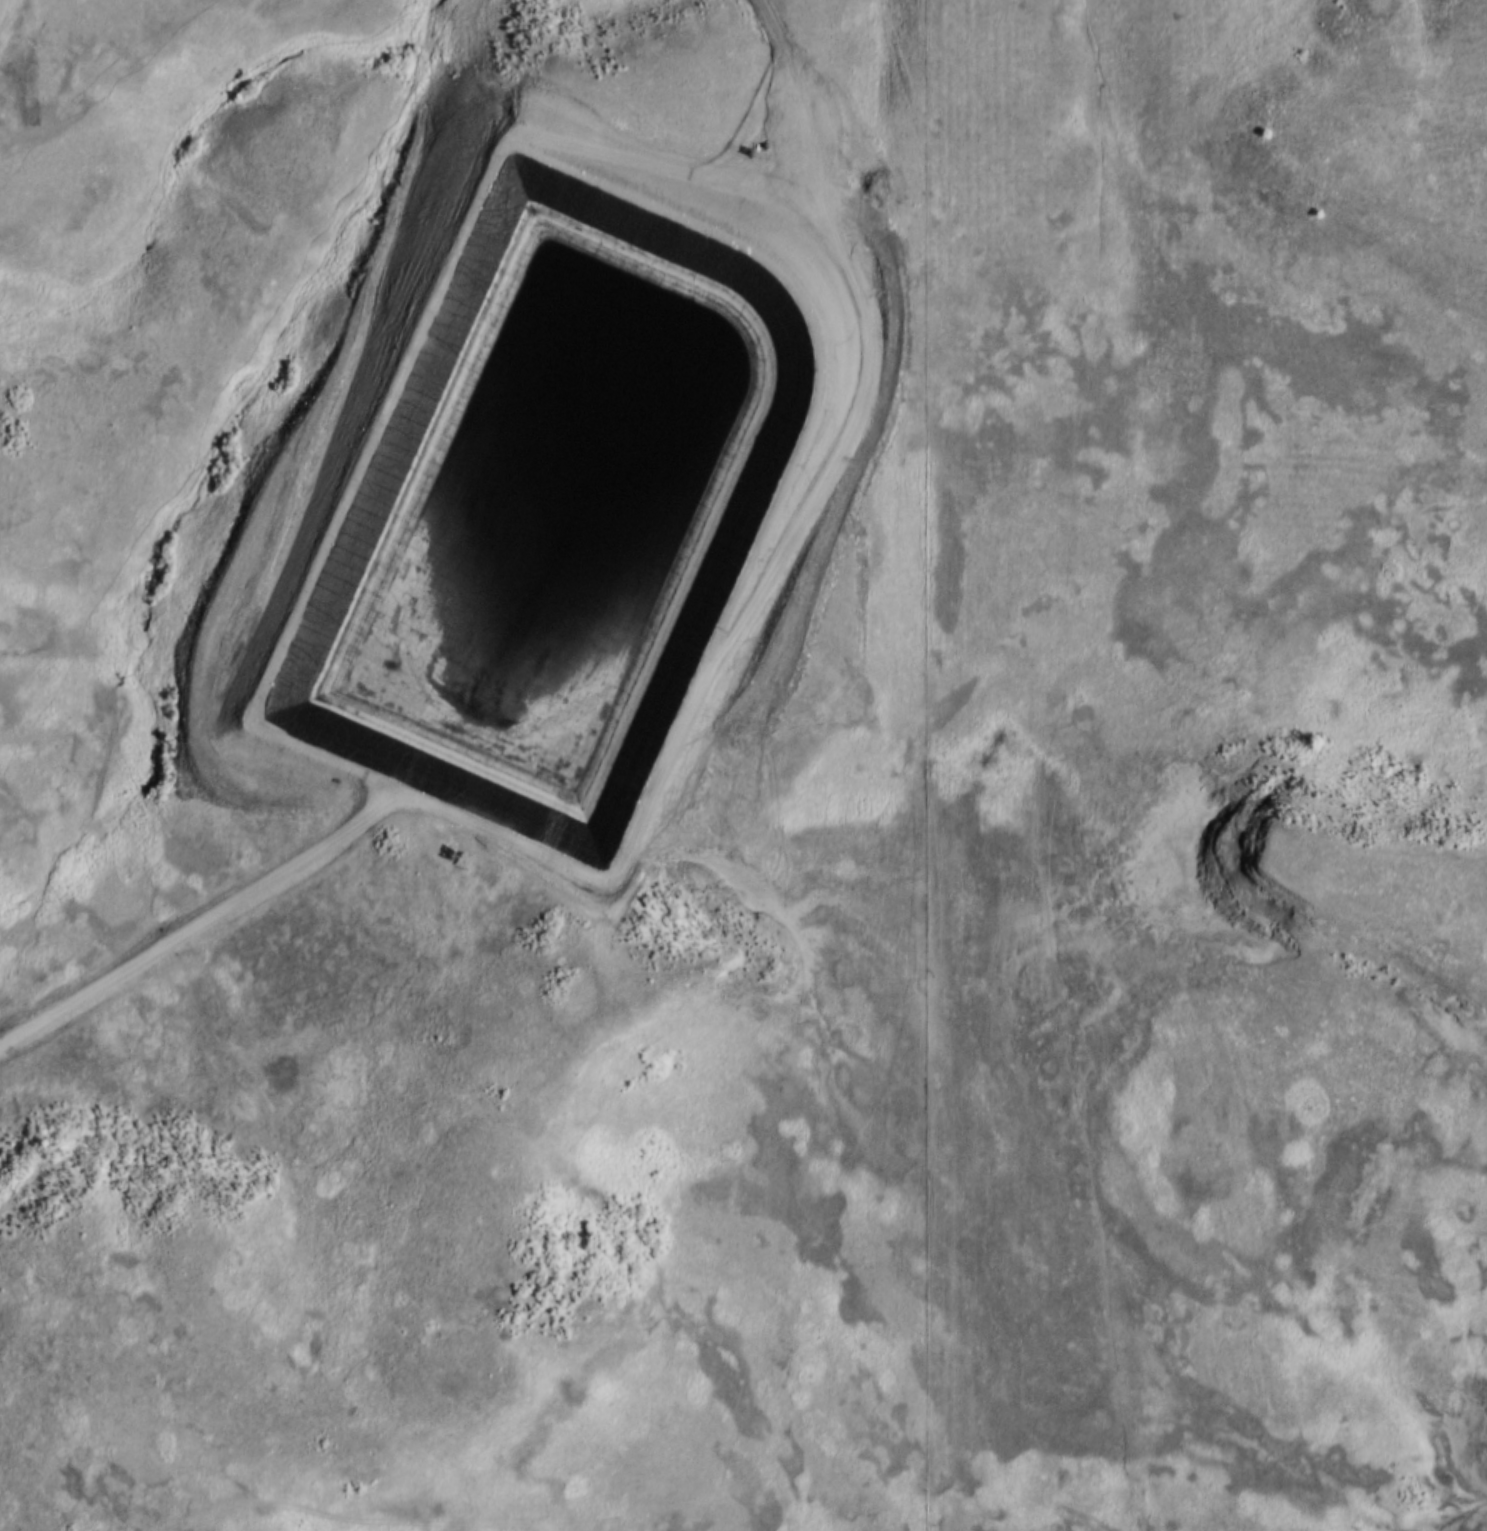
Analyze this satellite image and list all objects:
road: (1, 2)

